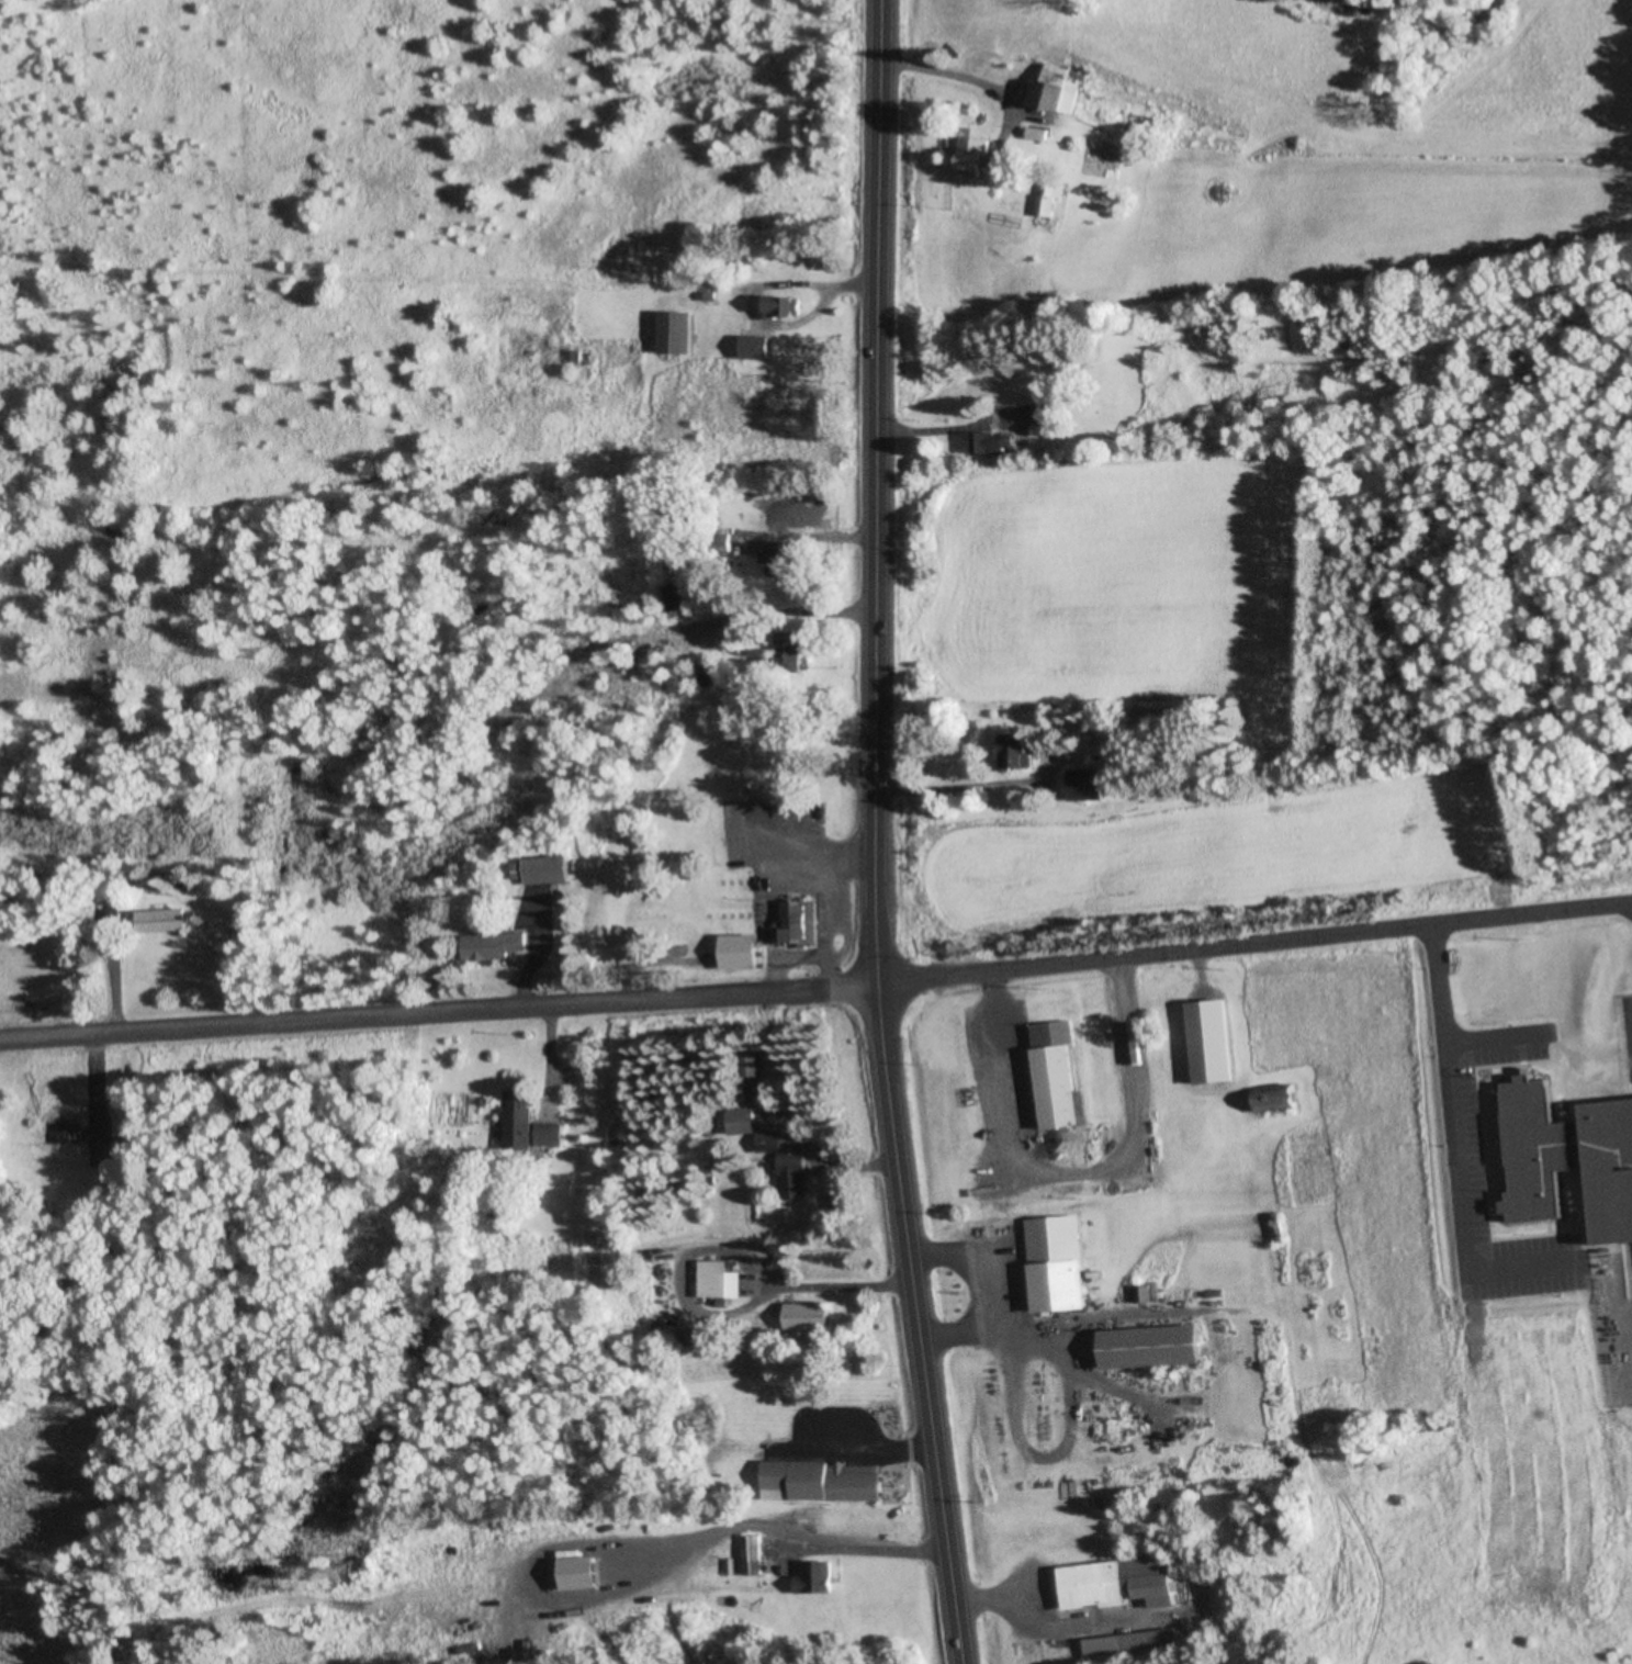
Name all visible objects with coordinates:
building: (1057, 90)
building: (1040, 134)
building: (979, 155)
building: (1050, 198)
building: (787, 306)
building: (677, 333)
building: (758, 339)
building: (585, 357)
building: (1039, 415)
building: (995, 443)
building: (786, 559)
building: (680, 585)
building: (791, 653)
building: (711, 674)
building: (1020, 751)
building: (1092, 783)
road: (878, 834)
building: (543, 870)
building: (164, 921)
building: (797, 923)
road: (1254, 942)
building: (497, 946)
building: (742, 953)
road: (438, 1011)
building: (1229, 1035)
building: (749, 1075)
building: (1060, 1076)
building: (1281, 1108)
building: (745, 1122)
building: (530, 1124)
building: (81, 1142)
building: (772, 1142)
building: (796, 1176)
building: (1059, 1264)
building: (722, 1281)
building: (811, 1316)
building: (1156, 1347)
building: (823, 1483)
building: (751, 1555)
building: (815, 1579)
building: (1117, 1585)
building: (1130, 1643)

